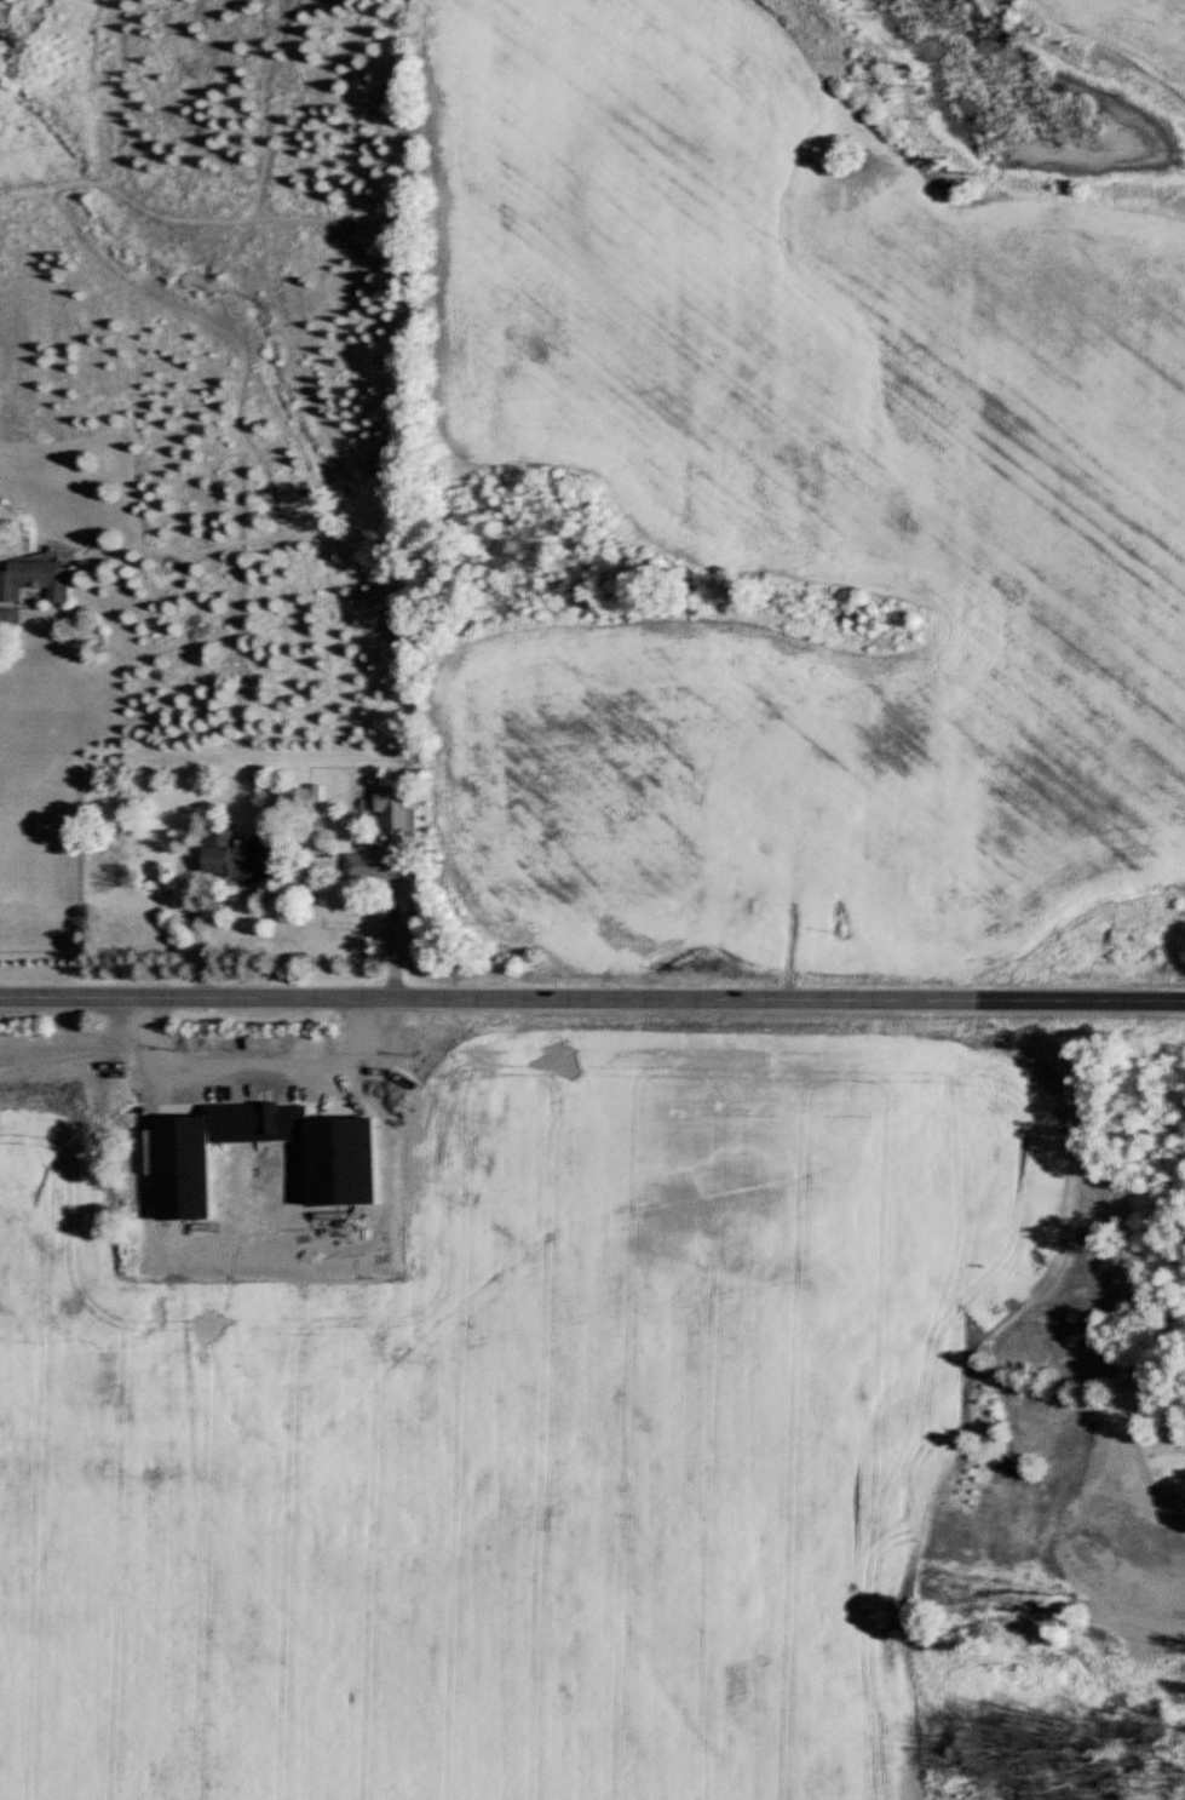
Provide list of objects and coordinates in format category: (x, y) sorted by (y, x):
building: (35, 579)
building: (395, 809)
building: (235, 856)
building: (370, 864)
road: (397, 921)
road: (191, 927)
road: (592, 1001)
road: (246, 1053)
building: (142, 1095)
building: (271, 1118)
park: (591, 1410)
road: (1137, 1421)

